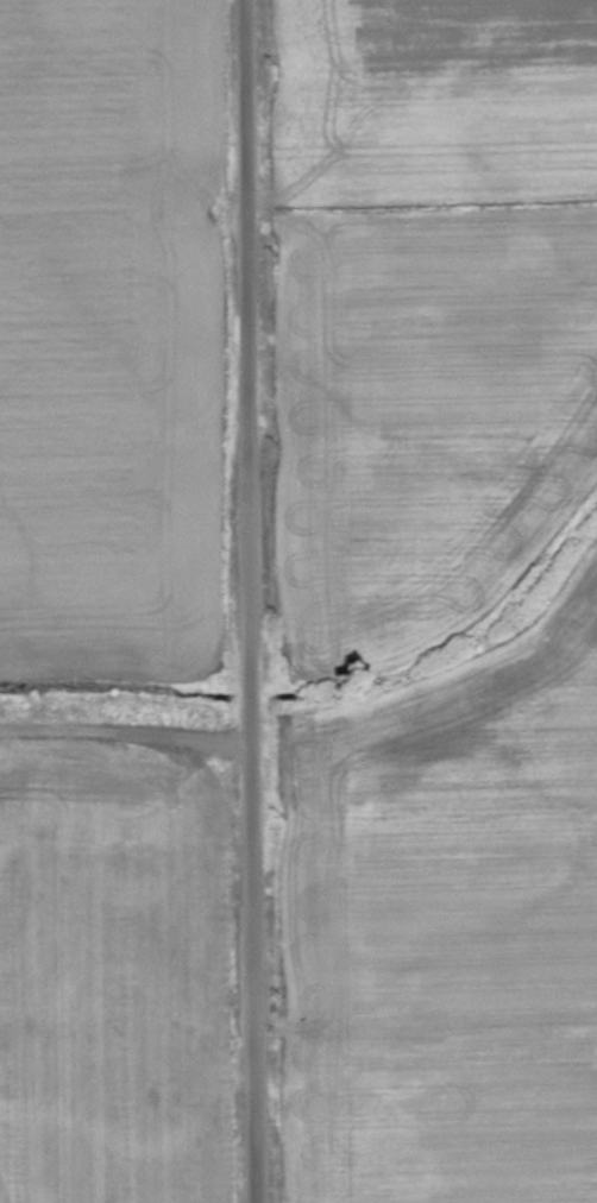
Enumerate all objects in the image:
road: (247, 600)
road: (125, 738)

